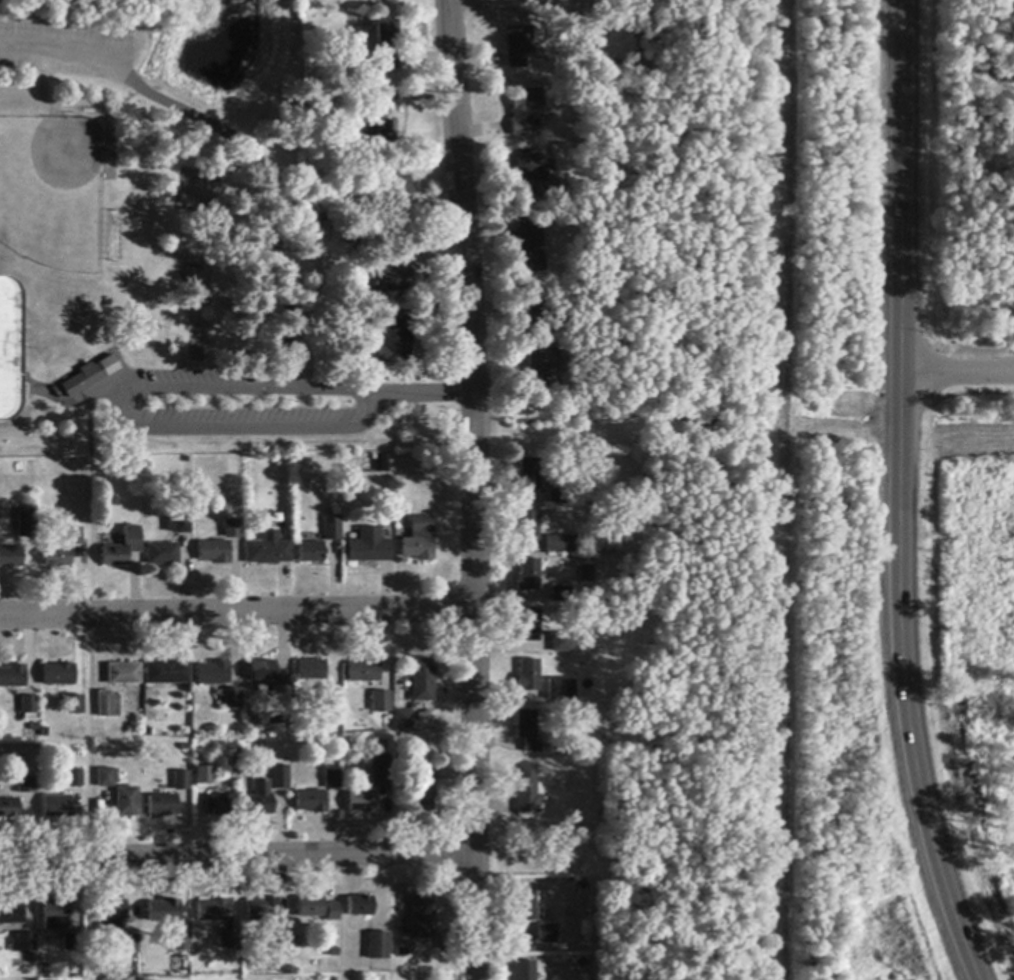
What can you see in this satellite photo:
building: (379, 0)
building: (511, 0)
building: (386, 45)
building: (518, 48)
parking lot: (66, 49)
building: (524, 110)
building: (381, 128)
road: (235, 137)
building: (531, 178)
building: (399, 199)
park: (165, 239)
building: (530, 246)
building: (393, 275)
building: (536, 316)
building: (386, 340)
building: (544, 368)
road: (957, 373)
parking lot: (195, 379)
building: (84, 380)
road: (145, 389)
street lamp: (345, 402)
street lamp: (218, 403)
parking lot: (240, 418)
building: (383, 465)
building: (528, 475)
road: (474, 489)
railway: (772, 489)
railway: (784, 490)
building: (559, 493)
road: (901, 495)
building: (27, 523)
building: (178, 525)
building: (527, 527)
building: (333, 528)
building: (232, 529)
building: (419, 534)
building: (75, 536)
building: (561, 544)
building: (368, 547)
building: (122, 548)
building: (268, 550)
building: (214, 552)
building: (310, 552)
building: (162, 554)
building: (58, 557)
building: (11, 558)
building: (586, 574)
building: (528, 575)
building: (560, 594)
road: (238, 613)
building: (528, 626)
building: (562, 643)
building: (311, 670)
building: (262, 671)
building: (364, 671)
building: (166, 673)
building: (123, 674)
building: (213, 674)
building: (59, 675)
building: (528, 676)
building: (13, 677)
building: (422, 680)
building: (561, 690)
building: (232, 699)
building: (330, 700)
building: (280, 702)
building: (380, 702)
building: (74, 705)
building: (108, 705)
building: (29, 708)
building: (402, 720)
building: (526, 724)
building: (531, 746)
building: (380, 771)
building: (107, 777)
building: (280, 777)
building: (74, 778)
building: (199, 778)
building: (331, 780)
building: (181, 781)
building: (26, 786)
building: (422, 789)
building: (526, 790)
building: (259, 799)
building: (127, 802)
building: (311, 802)
building: (361, 802)
building: (220, 805)
building: (162, 806)
building: (56, 807)
building: (9, 808)
road: (237, 857)
building: (359, 906)
building: (316, 908)
building: (525, 909)
building: (262, 910)
building: (163, 911)
building: (212, 911)
building: (11, 914)
building: (111, 914)
building: (56, 916)
building: (422, 916)
building: (546, 934)
building: (231, 939)
building: (180, 941)
building: (73, 942)
building: (281, 942)
building: (23, 943)
building: (128, 946)
building: (377, 946)
building: (525, 970)

